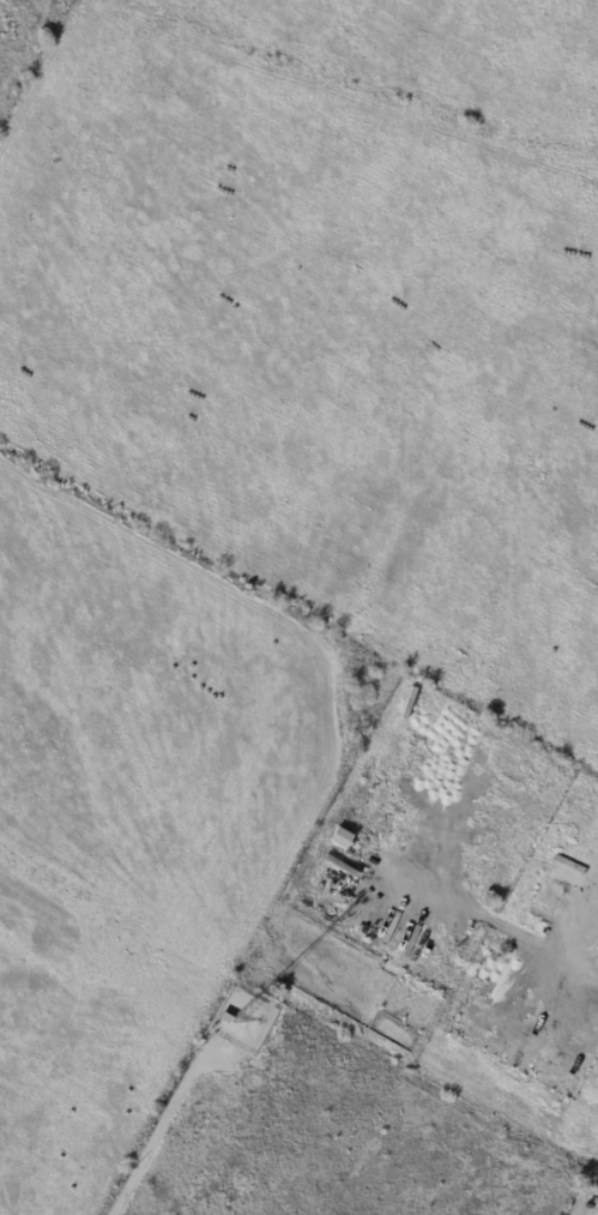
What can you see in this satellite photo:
building: (339, 838)
road: (578, 945)
road: (152, 1143)

